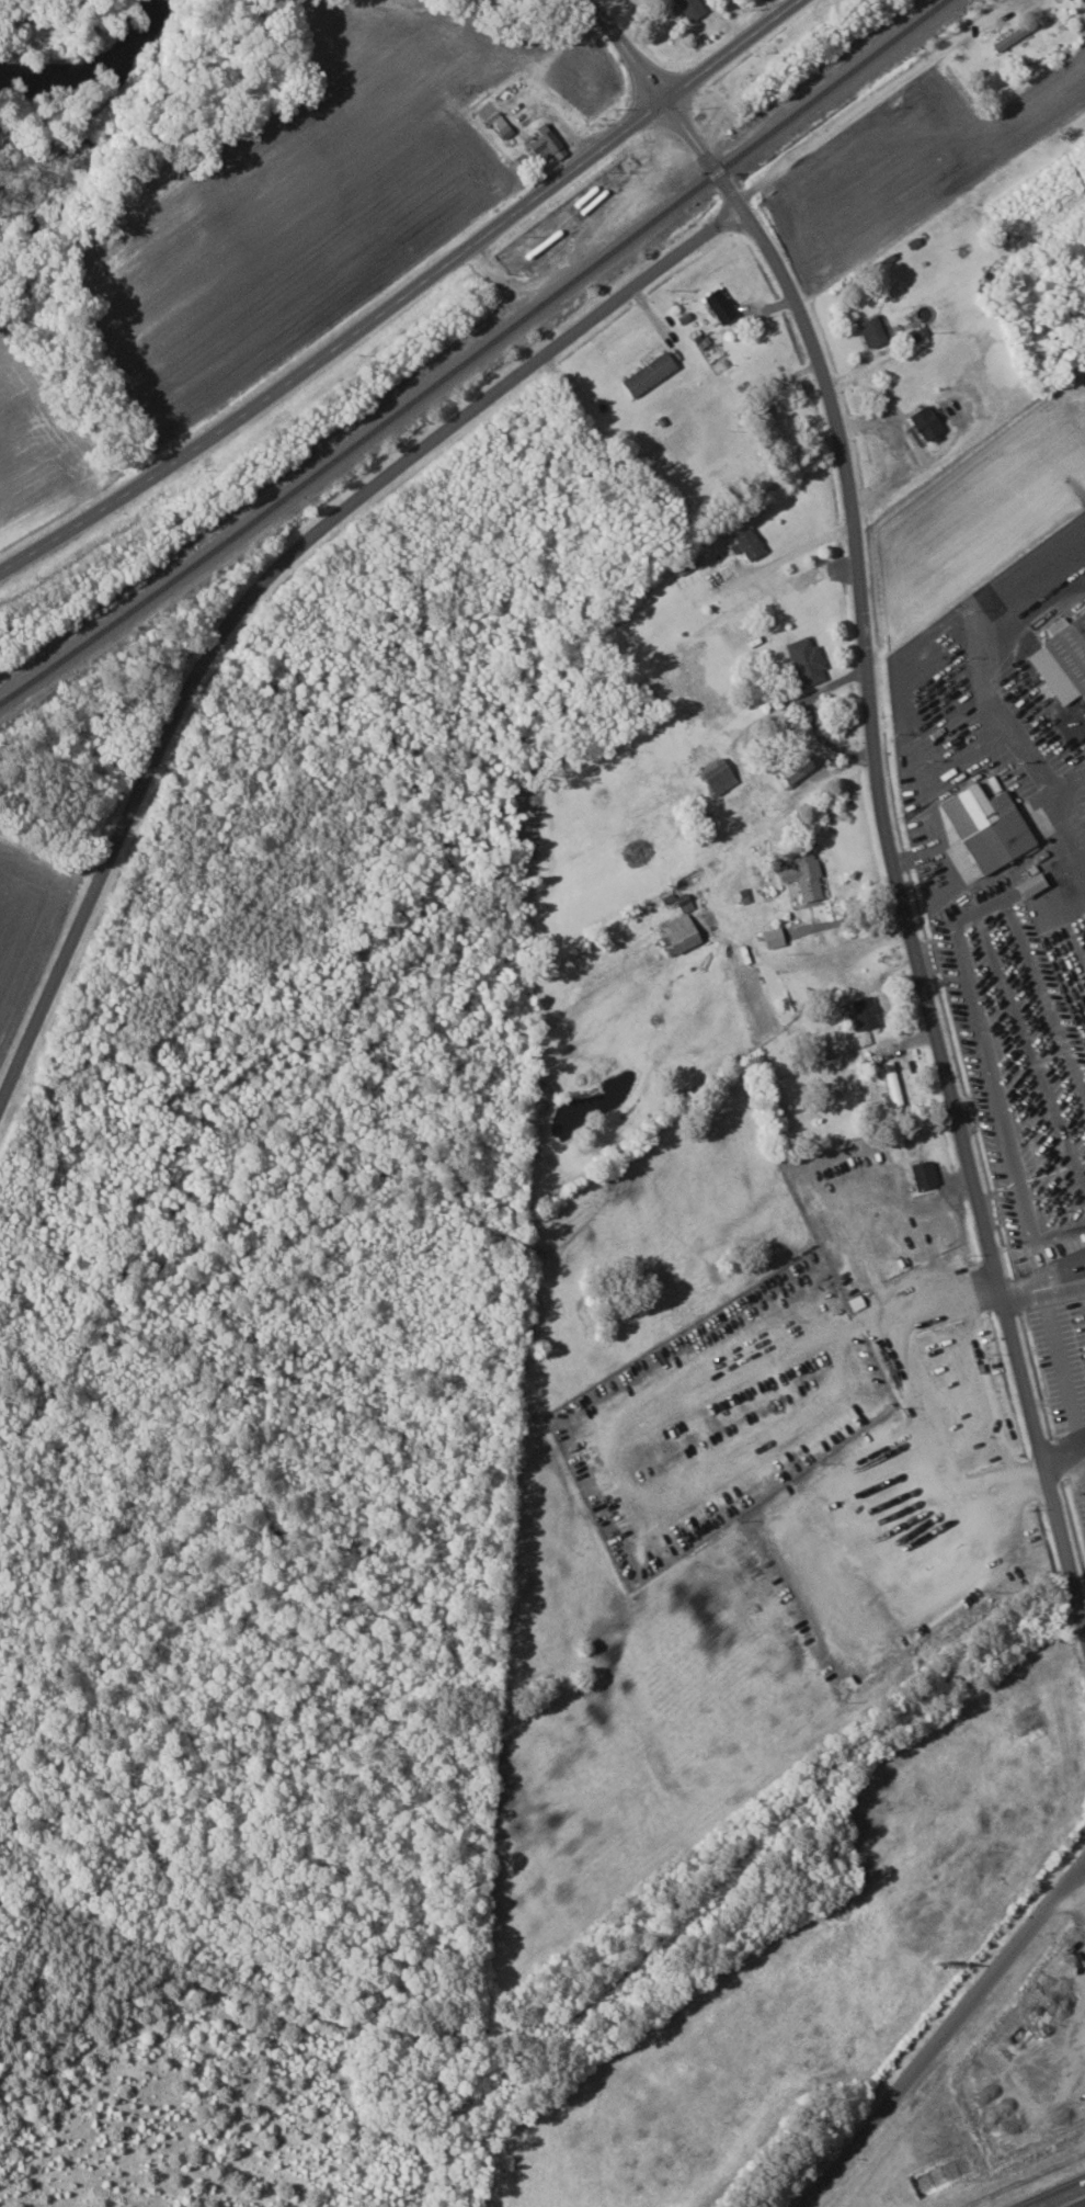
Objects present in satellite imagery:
building: (693, 8)
road: (628, 48)
river: (96, 69)
road: (860, 117)
building: (549, 145)
road: (404, 294)
building: (722, 306)
building: (873, 332)
railway: (476, 353)
building: (651, 374)
building: (928, 423)
road: (894, 454)
building: (752, 542)
road: (267, 578)
road: (860, 640)
building: (1070, 648)
building: (809, 660)
road: (998, 710)
road: (1036, 765)
building: (797, 769)
building: (721, 776)
road: (1075, 824)
building: (991, 826)
road: (905, 859)
road: (1062, 868)
building: (806, 873)
building: (1033, 884)
road: (1027, 885)
road: (982, 906)
building: (683, 932)
building: (776, 937)
road: (1044, 995)
building: (867, 1012)
road: (1030, 1044)
road: (997, 1110)
building: (926, 1175)
road: (1063, 1276)
road: (1025, 1289)
road: (1060, 1365)
road: (1035, 1406)
road: (1082, 1444)
road: (1073, 1448)
road: (948, 2039)
road: (1066, 2198)

